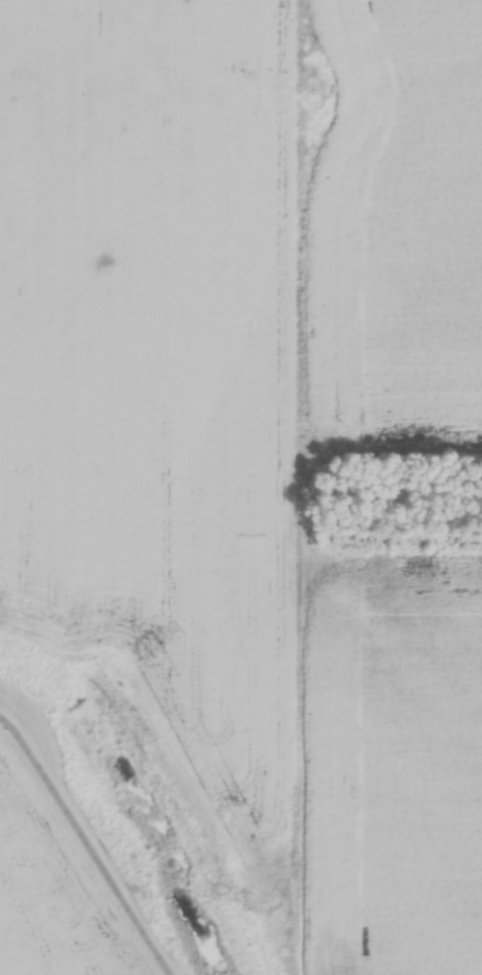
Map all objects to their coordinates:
crop: (397, 224)
crop: (391, 765)
road: (86, 845)

